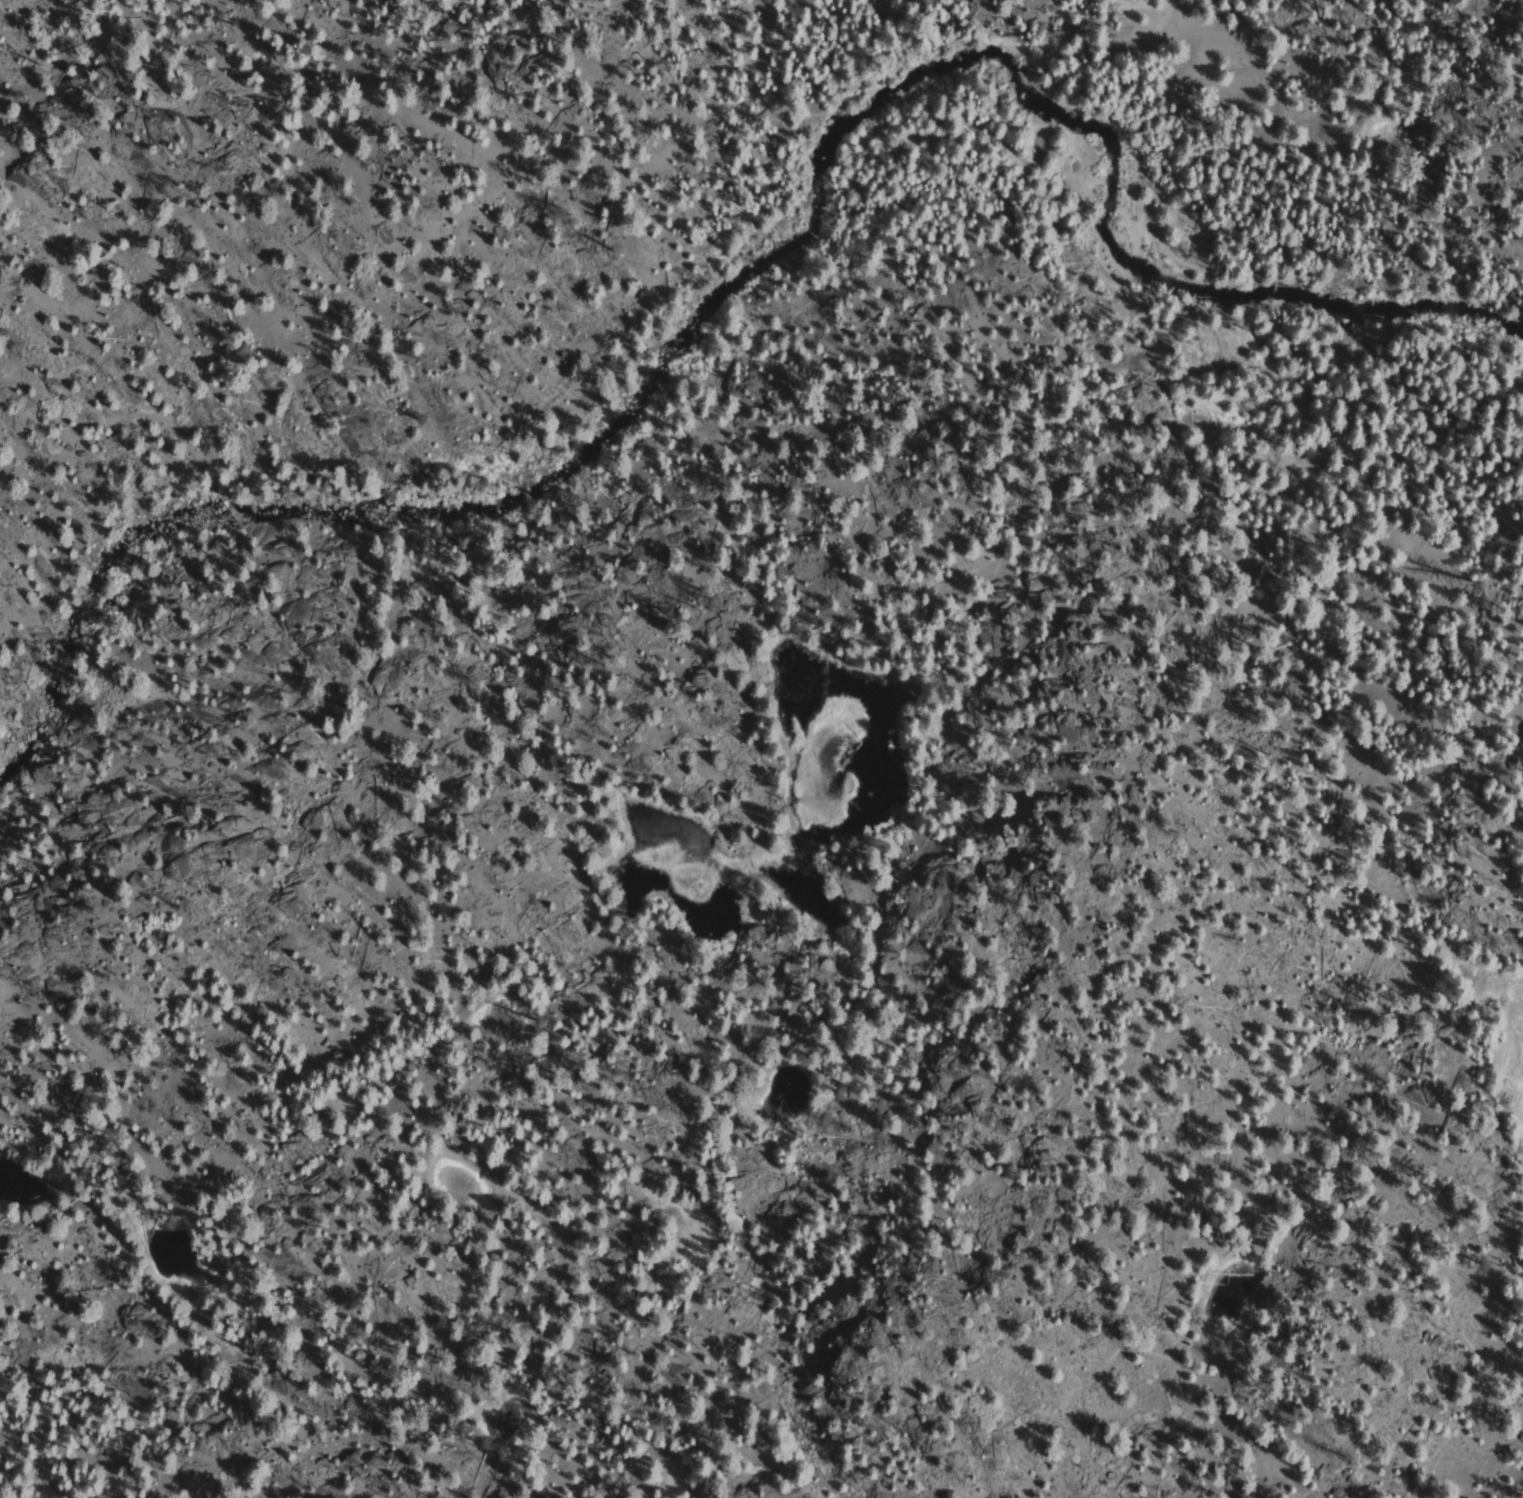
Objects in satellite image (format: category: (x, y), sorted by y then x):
road: (190, 1436)
road: (509, 1462)

